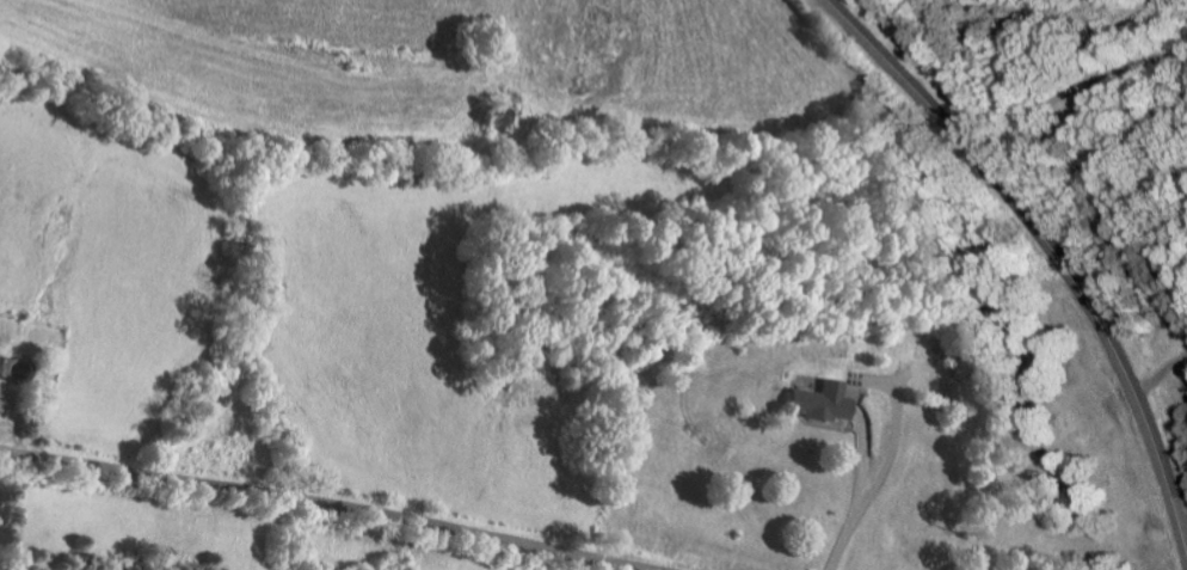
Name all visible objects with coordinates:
road: (1074, 91)
road: (1046, 244)
road: (1162, 375)
building: (7, 399)
building: (823, 403)
road: (328, 502)

